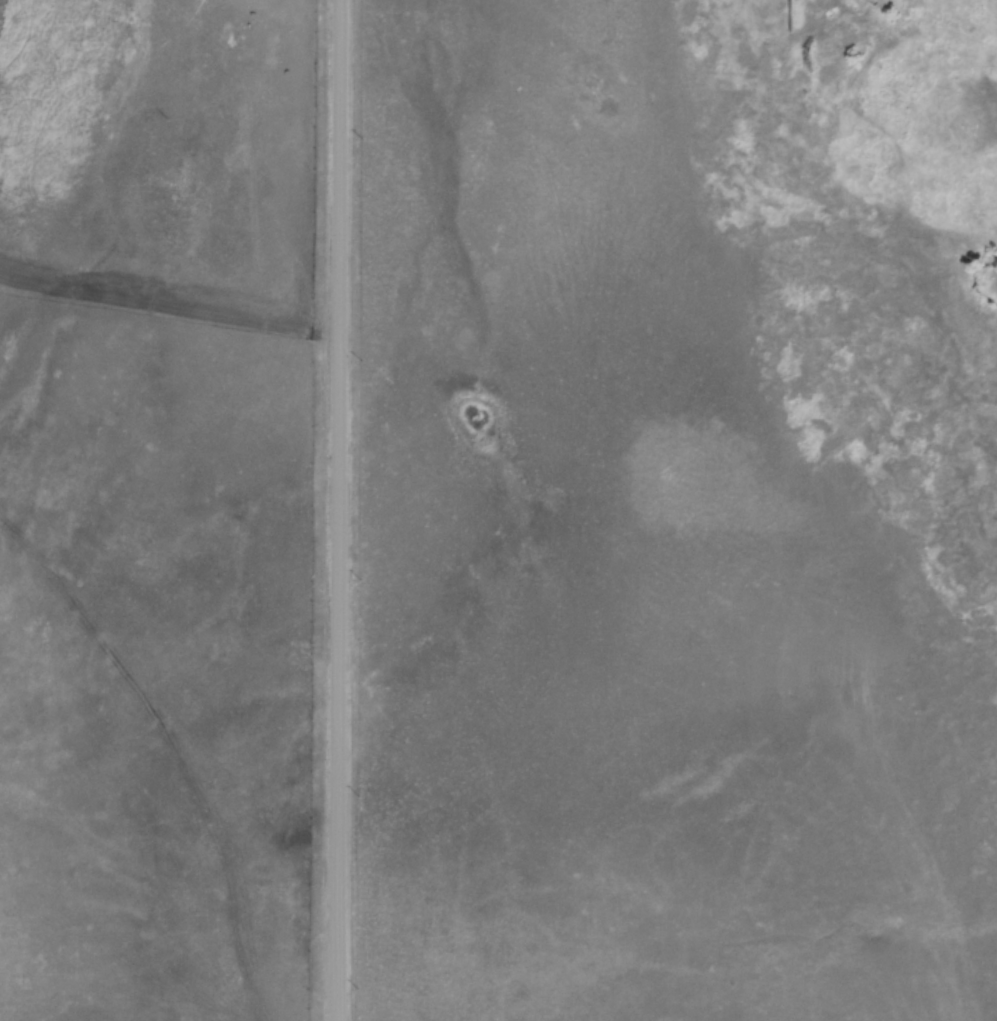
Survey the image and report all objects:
road: (337, 510)

